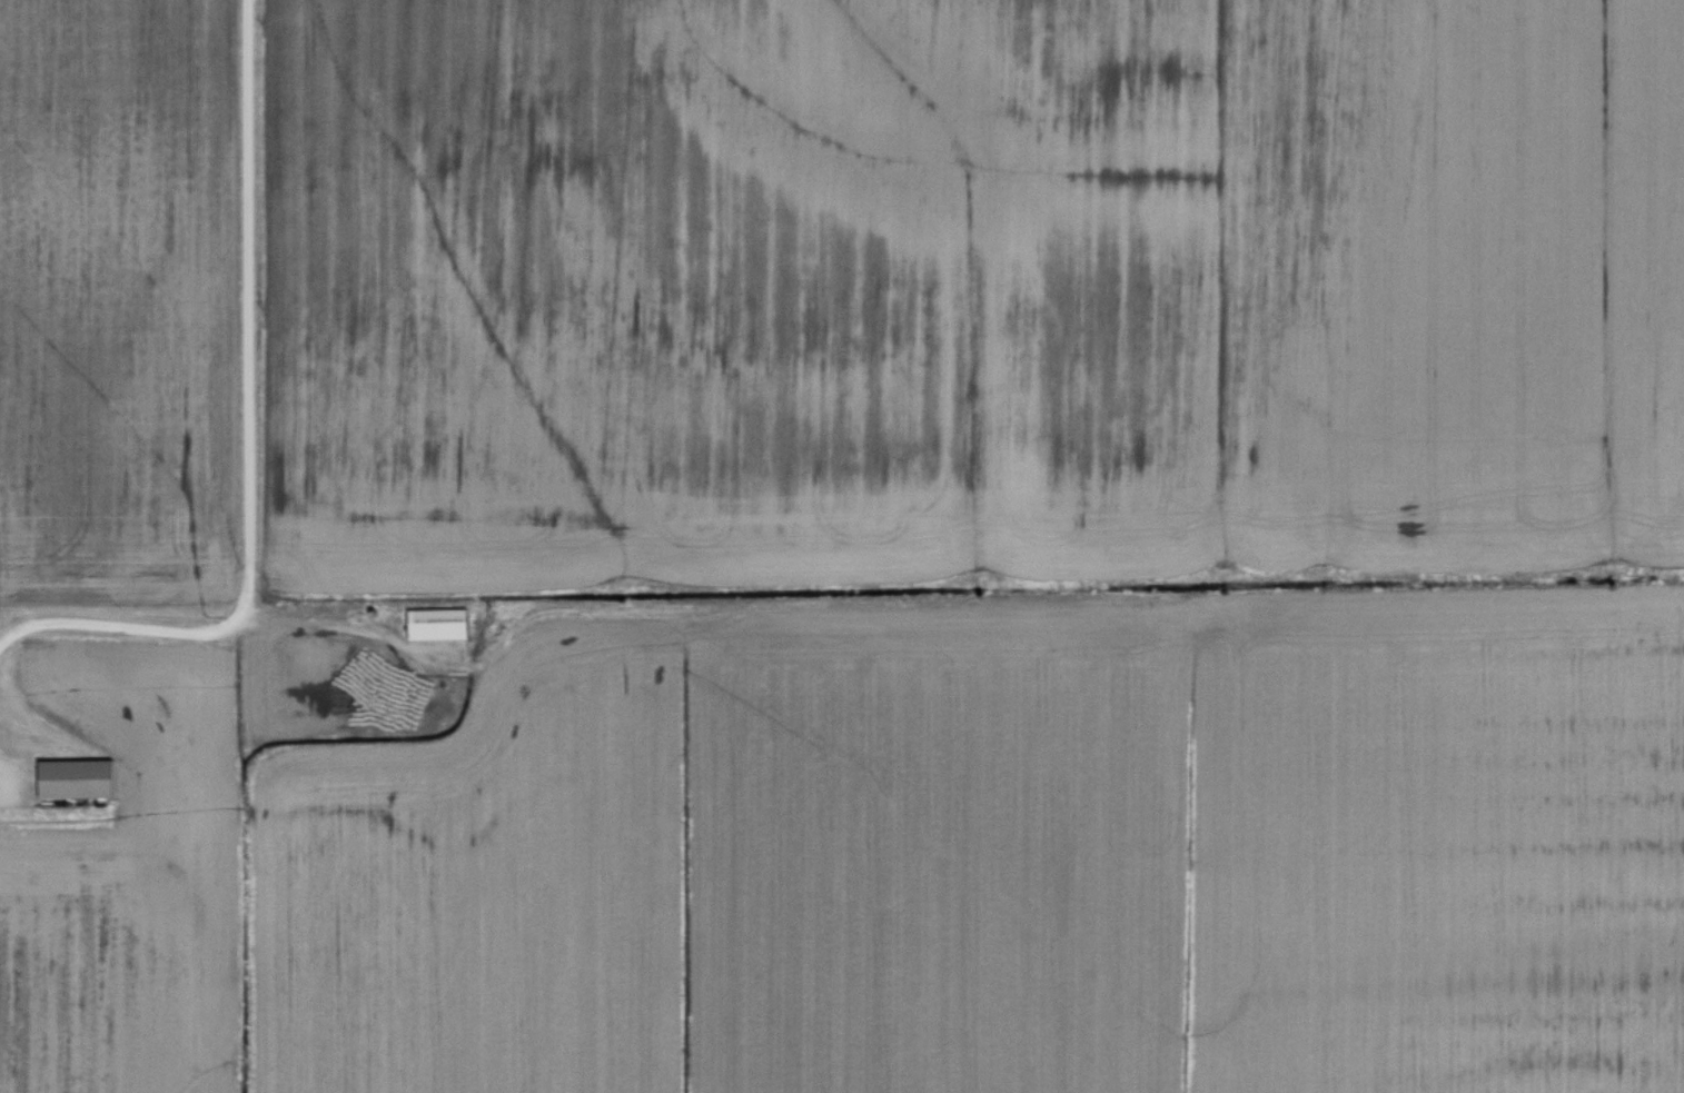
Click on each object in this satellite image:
road: (200, 409)
building: (445, 624)
building: (81, 778)

